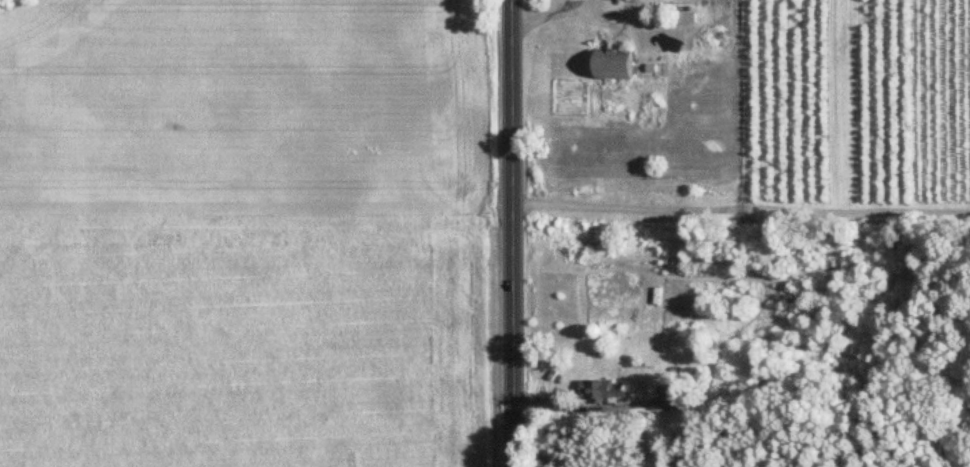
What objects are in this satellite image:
building: (613, 66)
road: (511, 233)
building: (603, 389)
building: (669, 398)

